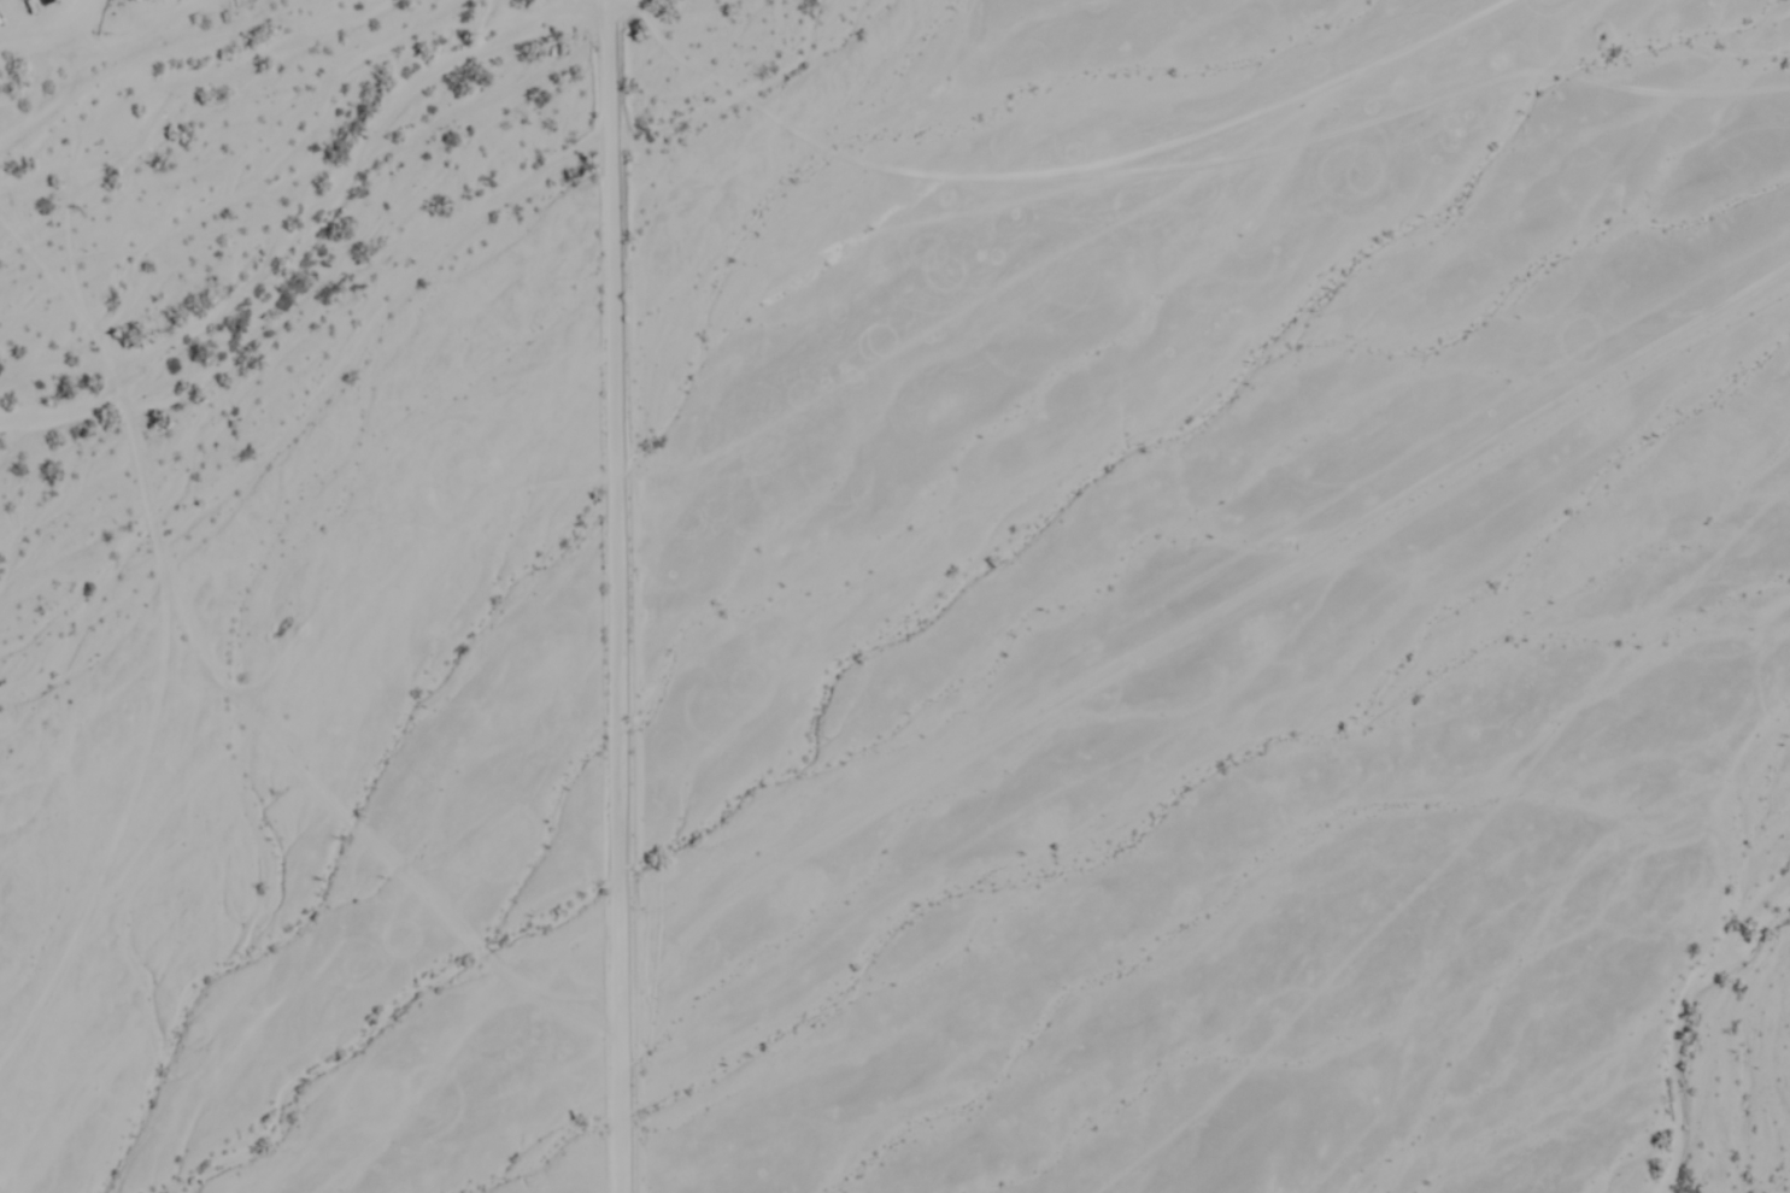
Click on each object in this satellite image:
road: (1050, 248)
road: (1187, 587)
road: (629, 596)

